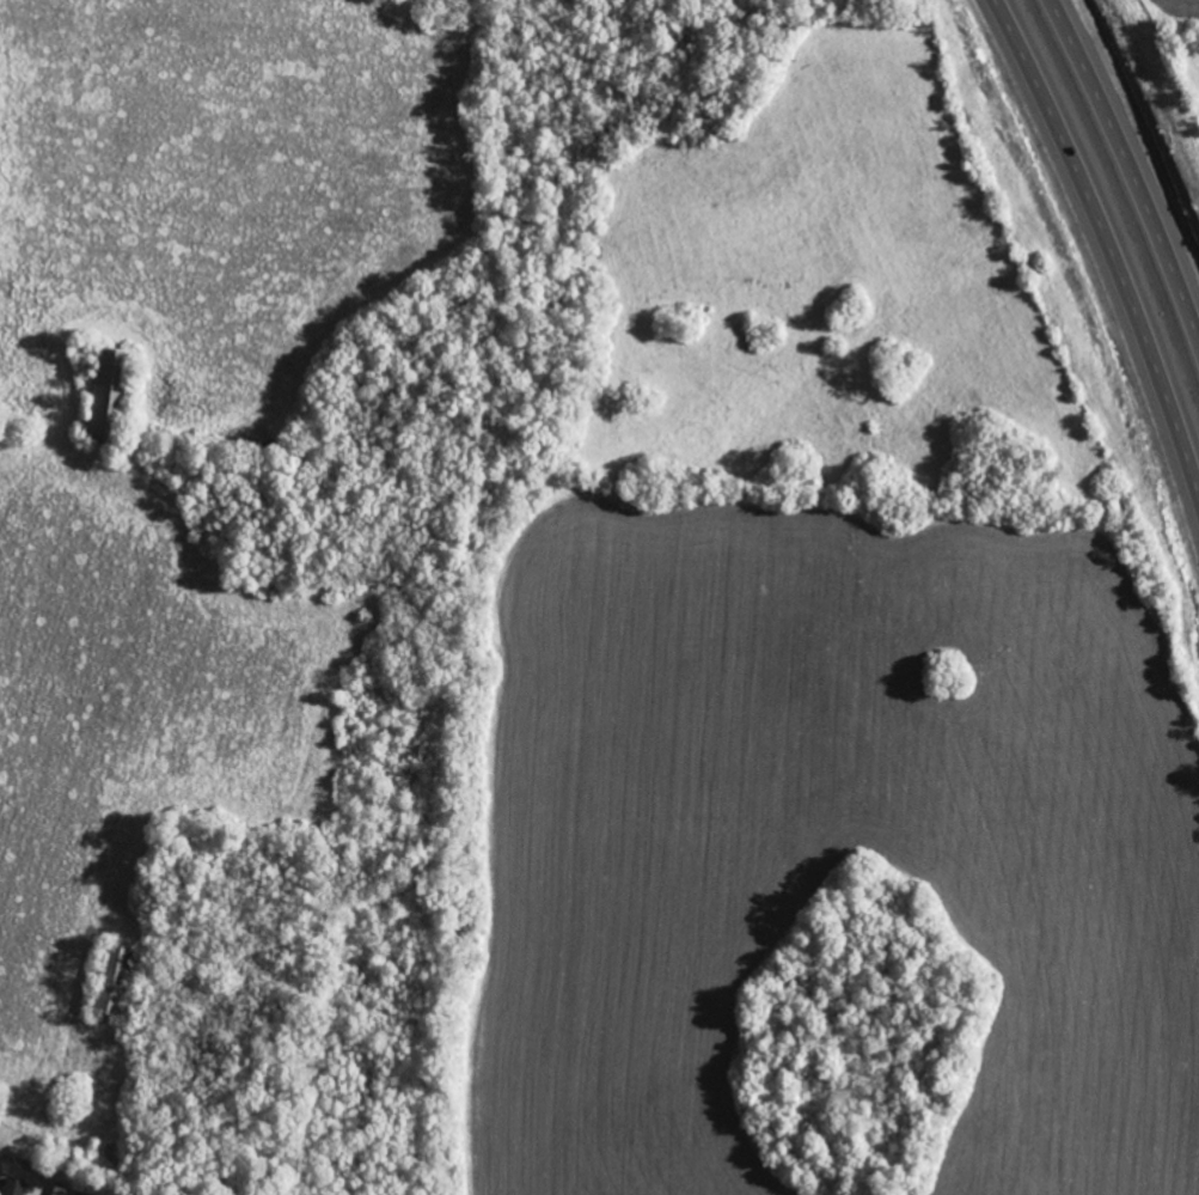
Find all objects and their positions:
road: (1131, 160)
road: (1109, 238)
building: (104, 396)
building: (110, 977)
building: (12, 1185)

